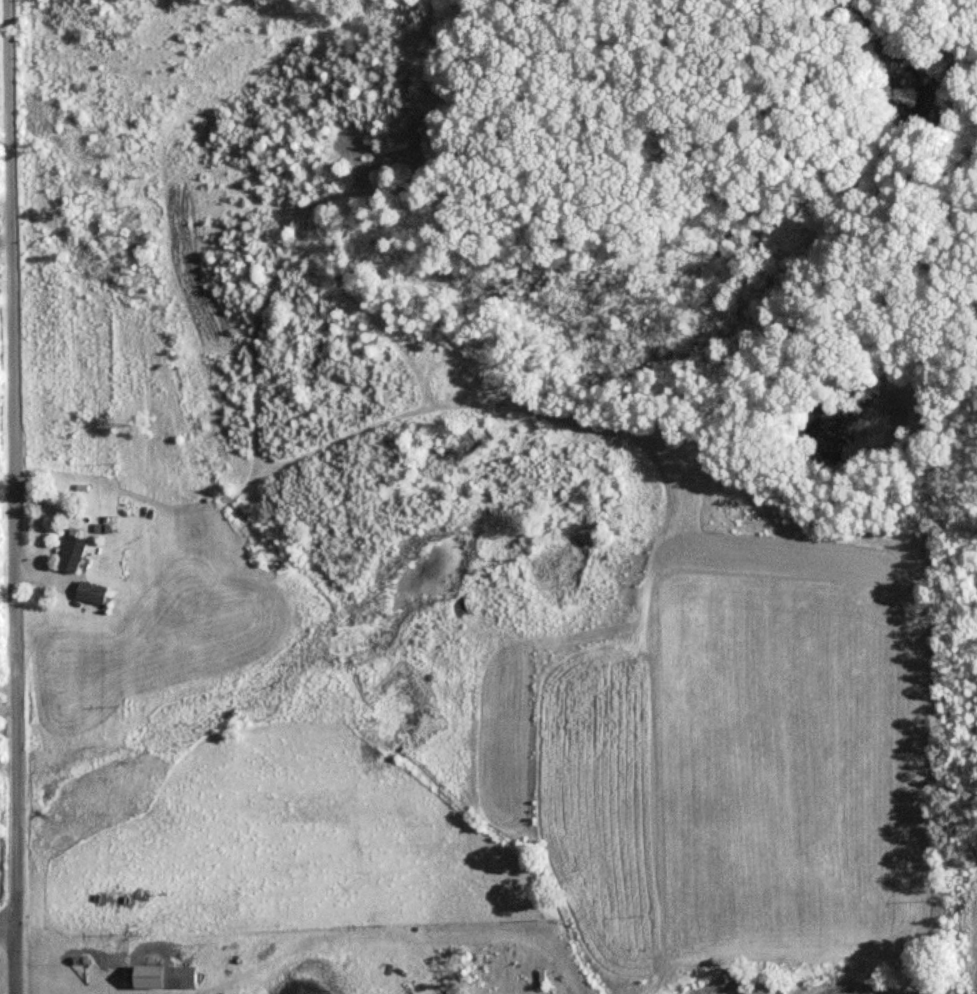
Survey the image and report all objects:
road: (8, 352)
building: (67, 554)
building: (88, 593)
road: (12, 849)
road: (6, 924)
building: (160, 976)
road: (133, 993)

